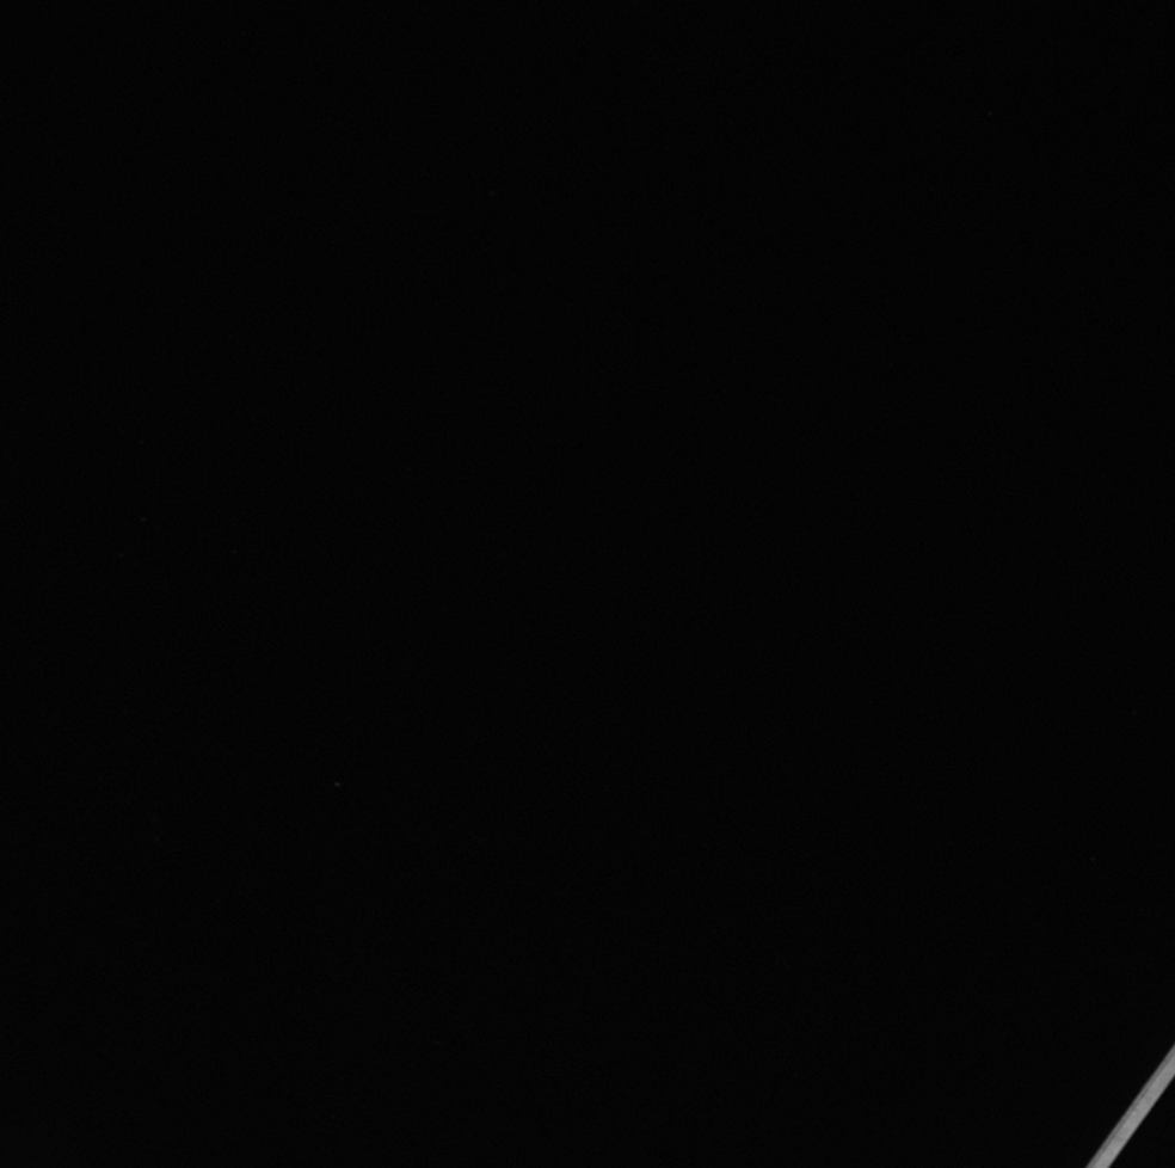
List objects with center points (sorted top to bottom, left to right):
pier: (1128, 1105)

